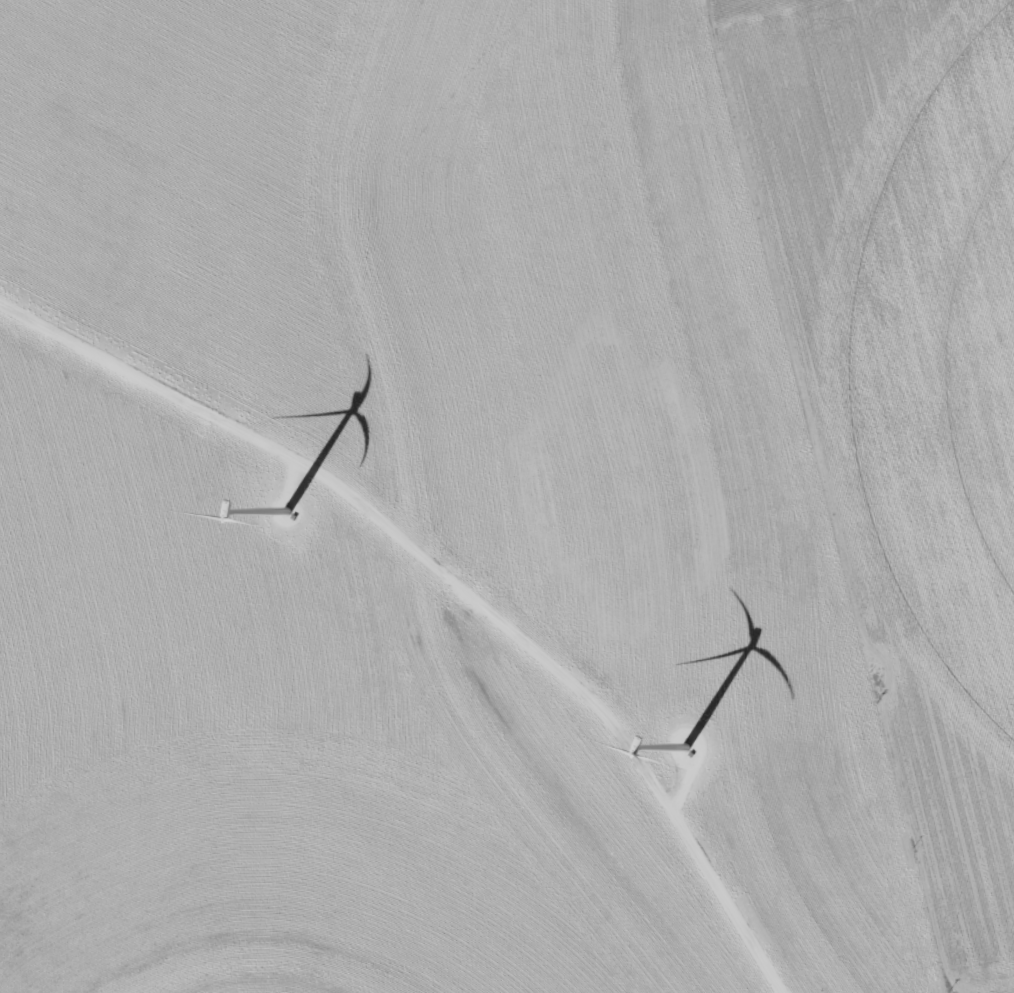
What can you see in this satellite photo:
wind turbine: (280, 510)
wind turbine: (691, 738)

